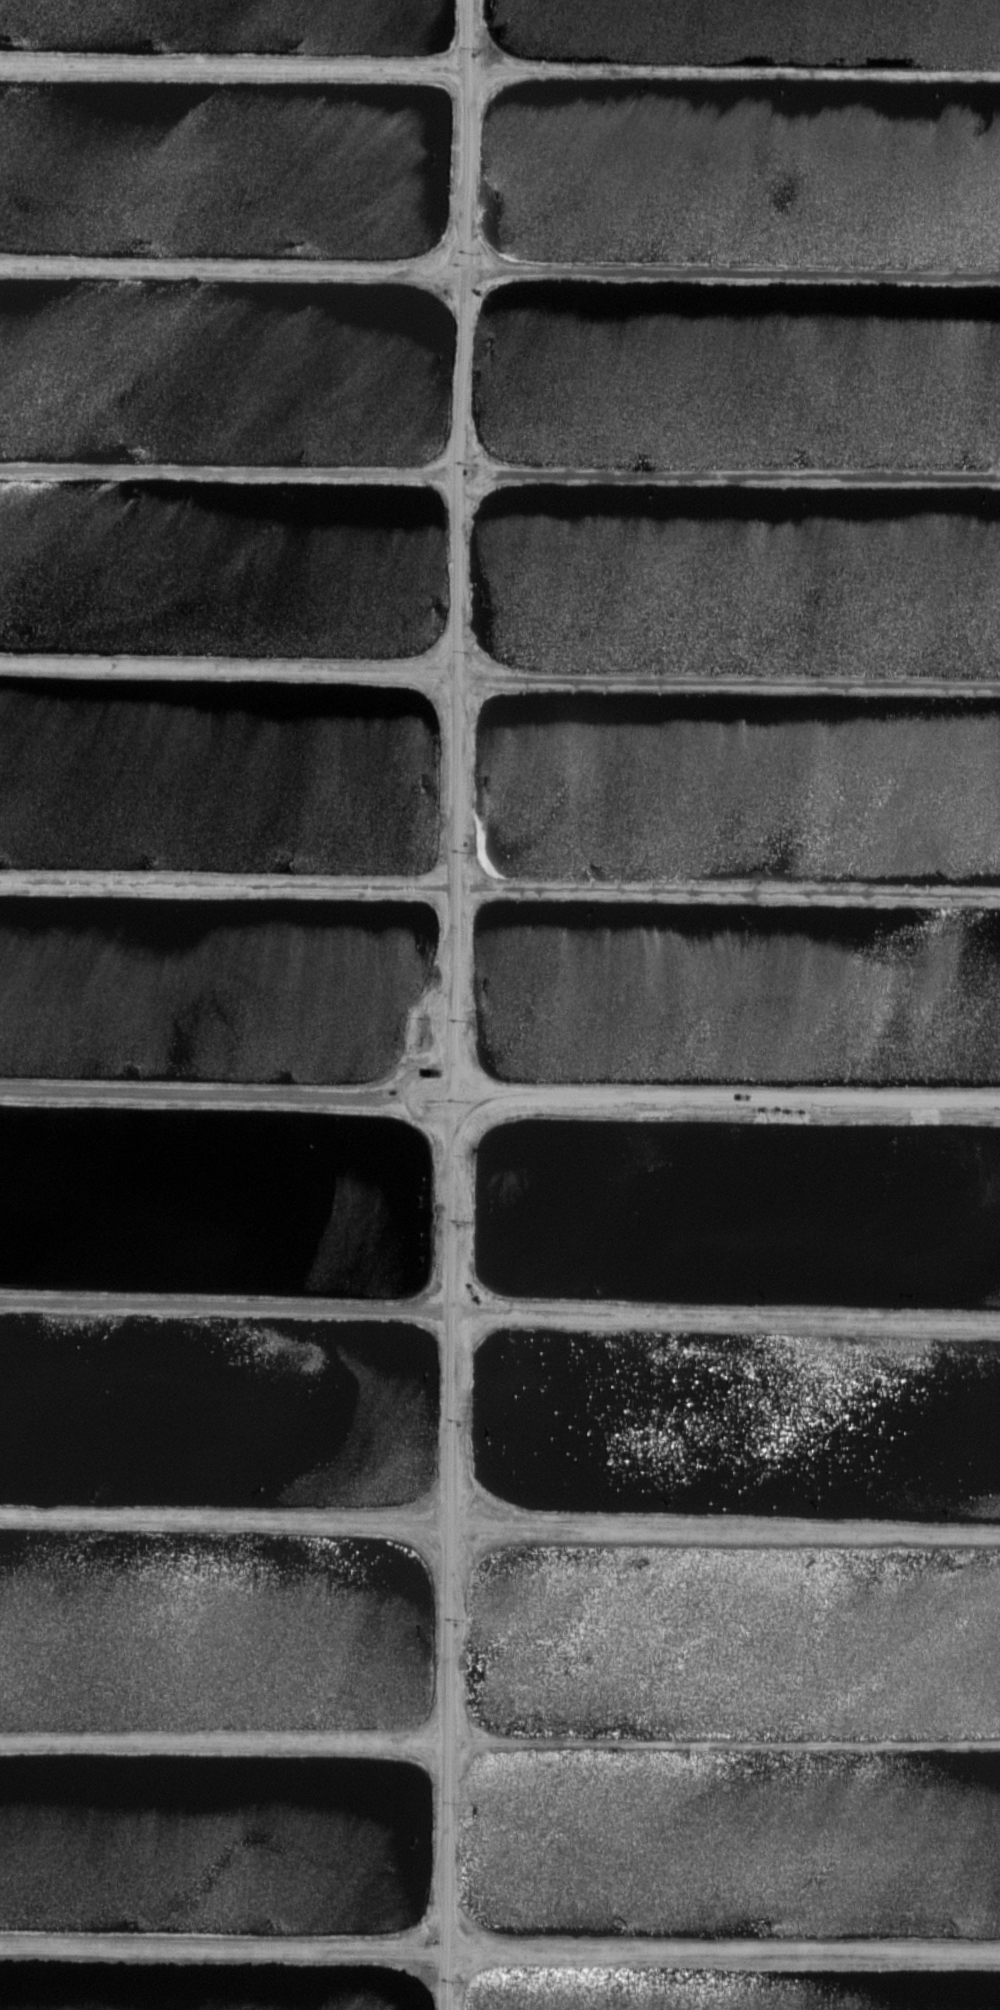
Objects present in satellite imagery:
road: (453, 1005)

